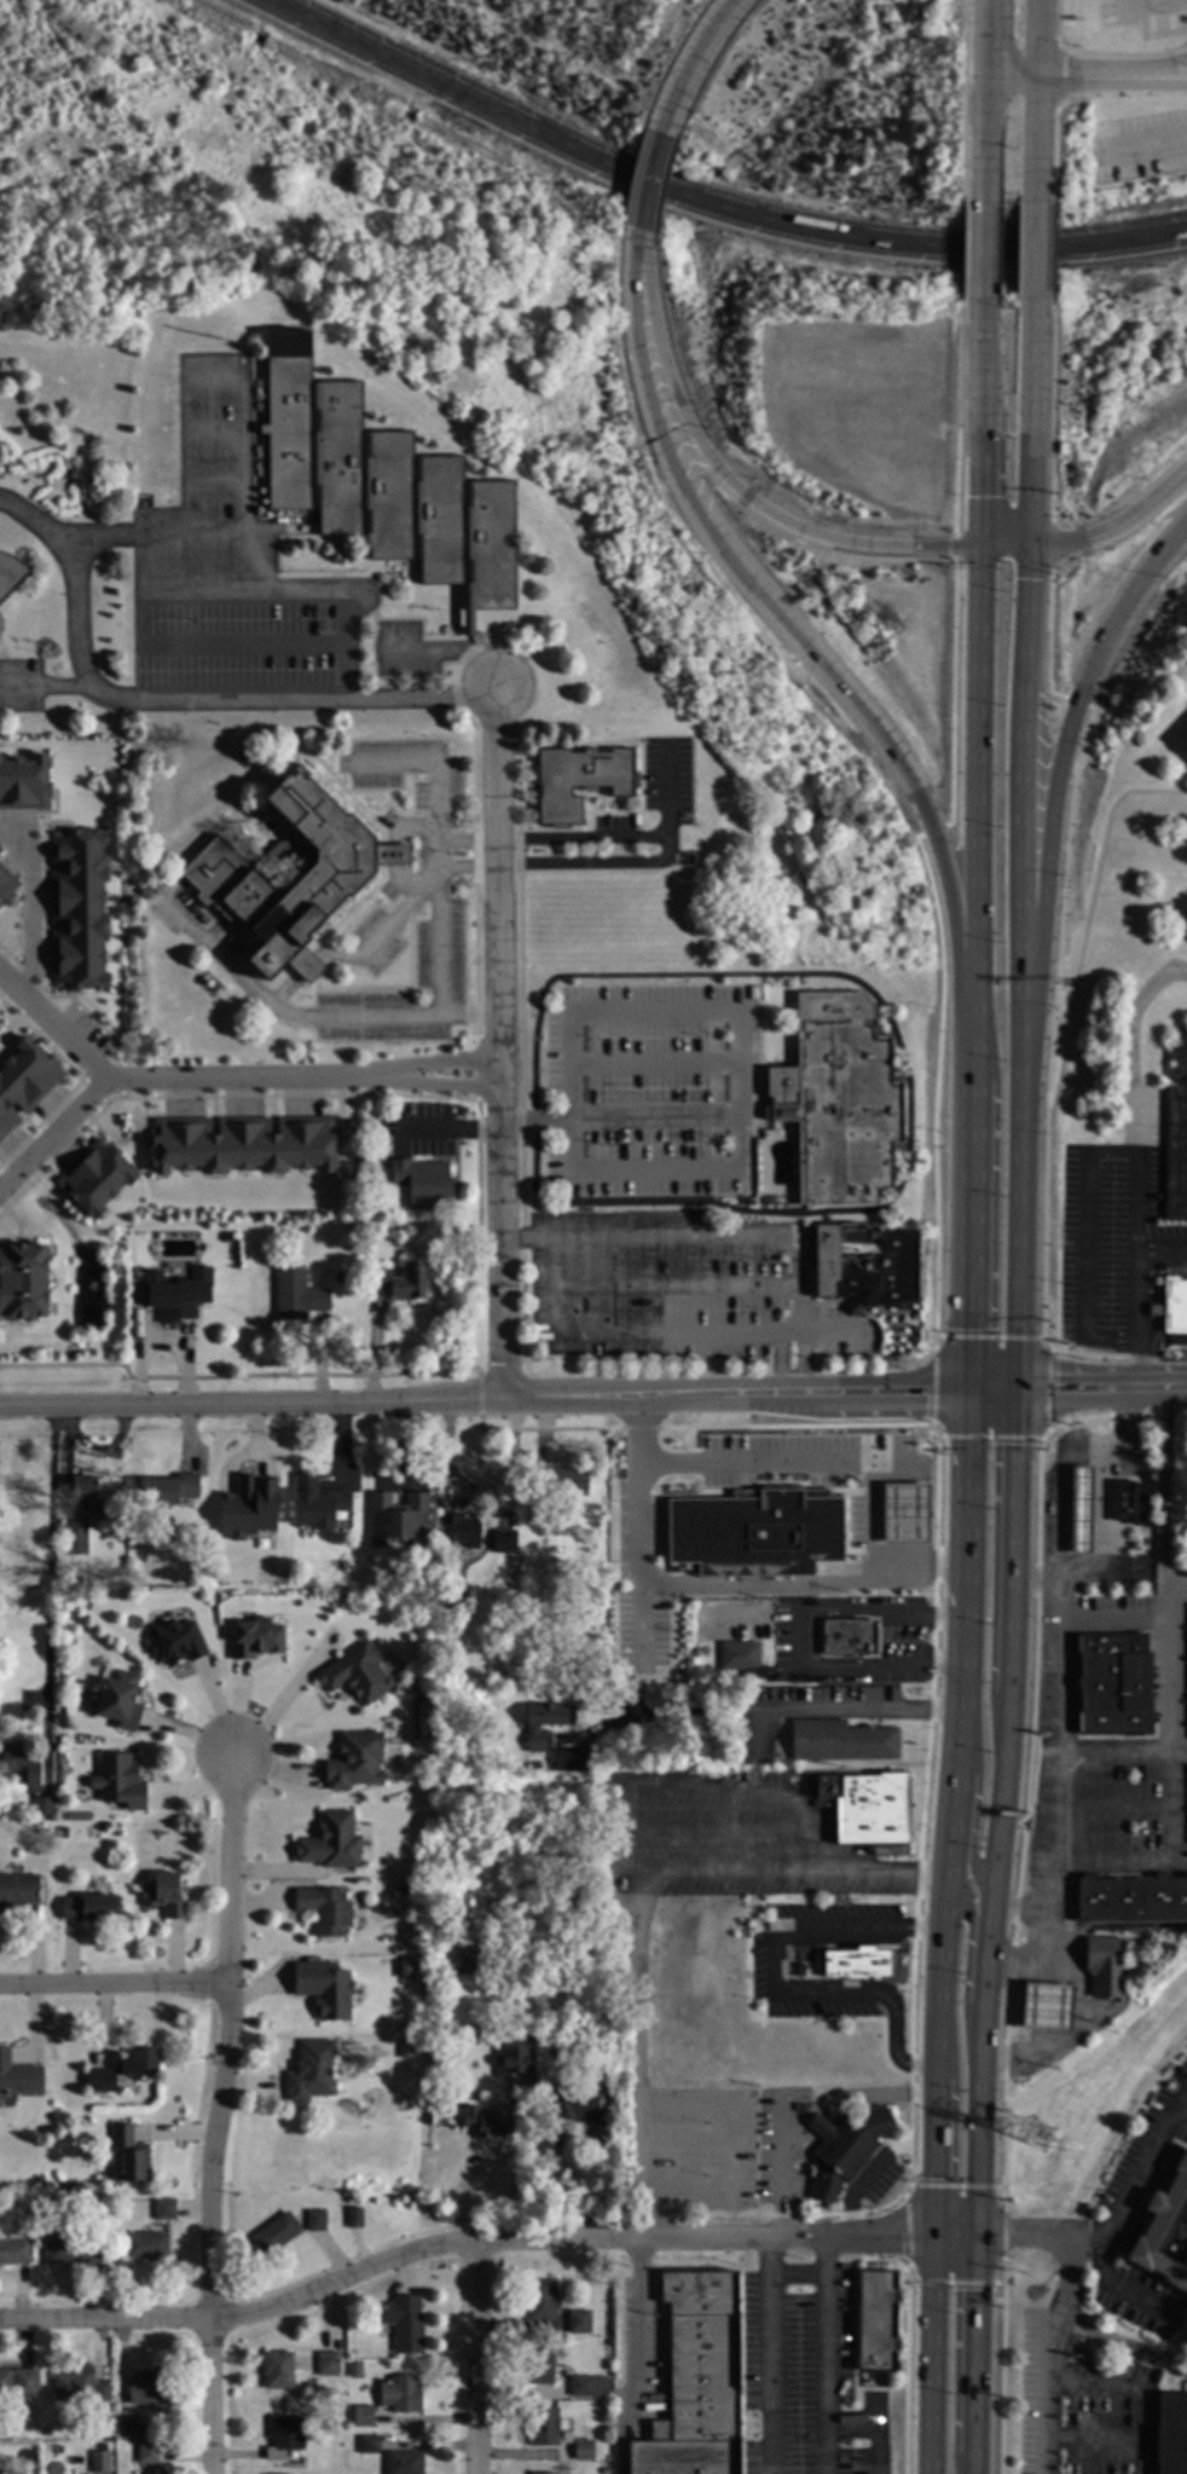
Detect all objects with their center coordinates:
road: (1150, 5)
parking lot: (1141, 13)
road: (1055, 21)
road: (1163, 33)
road: (985, 37)
road: (1040, 37)
road: (1119, 54)
road: (699, 65)
road: (1133, 70)
road: (1012, 75)
road: (1054, 75)
road: (1059, 75)
road: (1133, 77)
road: (962, 98)
road: (1038, 138)
road: (984, 140)
road: (1141, 145)
parking lot: (1139, 146)
road: (1052, 156)
road: (643, 192)
road: (710, 203)
road: (965, 248)
road: (1037, 253)
road: (1050, 253)
road: (982, 254)
road: (629, 288)
road: (1050, 412)
road: (957, 418)
road: (980, 426)
road: (1032, 426)
building: (1060, 447)
road: (241, 457)
road: (998, 467)
building: (382, 482)
road: (752, 516)
road: (1114, 525)
road: (1052, 545)
road: (1004, 548)
road: (955, 549)
road: (264, 560)
building: (10, 572)
road: (1049, 638)
road: (804, 651)
road: (41, 683)
road: (951, 694)
road: (175, 699)
road: (1079, 704)
building: (1185, 741)
road: (975, 765)
road: (1058, 773)
building: (579, 780)
building: (23, 782)
road: (1020, 797)
road: (932, 830)
road: (583, 838)
road: (469, 840)
road: (440, 842)
road: (637, 865)
building: (220, 872)
building: (6, 885)
road: (25, 901)
building: (77, 909)
road: (1087, 915)
road: (382, 936)
road: (308, 1017)
road: (728, 1017)
road: (1049, 1028)
road: (499, 1044)
road: (655, 1065)
road: (228, 1077)
building: (24, 1080)
road: (934, 1088)
building: (838, 1098)
road: (619, 1120)
building: (1176, 1128)
road: (451, 1131)
road: (52, 1134)
building: (242, 1144)
road: (1099, 1152)
building: (94, 1177)
building: (423, 1181)
building: (751, 1198)
road: (1135, 1202)
road: (992, 1204)
road: (725, 1233)
building: (863, 1264)
road: (1136, 1270)
building: (23, 1279)
building: (399, 1279)
road: (674, 1285)
building: (297, 1294)
building: (176, 1297)
building: (1172, 1305)
road: (668, 1336)
road: (988, 1337)
road: (1139, 1364)
road: (932, 1388)
road: (1100, 1389)
traffic signals: (1015, 1391)
road: (1048, 1391)
traffic signals: (968, 1392)
road: (881, 1394)
road: (691, 1395)
road: (317, 1401)
road: (1061, 1423)
road: (934, 1430)
road: (1047, 1435)
road: (990, 1437)
road: (1064, 1456)
road: (809, 1462)
building: (567, 1480)
building: (168, 1486)
road: (966, 1491)
building: (87, 1493)
building: (318, 1499)
building: (1130, 1502)
building: (247, 1505)
building: (1081, 1509)
building: (905, 1511)
building: (540, 1513)
building: (398, 1516)
building: (697, 1524)
building: (461, 1527)
road: (1101, 1534)
building: (75, 1536)
building: (503, 1541)
road: (994, 1567)
road: (1054, 1582)
road: (714, 1586)
building: (447, 1588)
road: (48, 1589)
road: (1180, 1594)
building: (256, 1636)
building: (847, 1636)
building: (174, 1638)
road: (800, 1642)
building: (741, 1657)
building: (357, 1672)
building: (1113, 1683)
road: (1174, 1684)
building: (118, 1696)
road: (845, 1710)
building: (542, 1723)
building: (841, 1740)
road: (1123, 1750)
building: (355, 1759)
building: (571, 1759)
road: (1003, 1761)
building: (533, 1763)
building: (18, 1764)
road: (1059, 1767)
building: (118, 1780)
road: (713, 1791)
building: (42, 1805)
building: (864, 1807)
road: (1116, 1808)
road: (973, 1809)
road: (712, 1831)
road: (807, 1839)
building: (330, 1840)
road: (734, 1873)
road: (861, 1873)
road: (914, 1875)
building: (403, 1888)
building: (17, 1892)
building: (164, 1894)
building: (1131, 1897)
road: (546, 1904)
building: (89, 1907)
road: (1020, 1907)
building: (325, 1908)
building: (465, 1960)
building: (856, 1961)
building: (1105, 1964)
road: (966, 1966)
building: (403, 1967)
building: (803, 1969)
building: (493, 1981)
building: (323, 1987)
road: (116, 1988)
road: (772, 1988)
building: (1046, 2005)
road: (635, 2010)
building: (439, 2022)
road: (1070, 2036)
building: (442, 2042)
building: (516, 2050)
building: (556, 2051)
building: (123, 2068)
building: (311, 2070)
building: (17, 2075)
road: (851, 2099)
building: (440, 2103)
building: (575, 2109)
road: (219, 2114)
road: (934, 2115)
road: (783, 2118)
building: (487, 2123)
road: (951, 2123)
power tower: (1042, 2141)
building: (845, 2148)
building: (125, 2154)
road: (1133, 2173)
traffic signals: (951, 2178)
building: (37, 2179)
traffic signals: (933, 2179)
road: (783, 2187)
road: (954, 2187)
road: (855, 2191)
road: (645, 2202)
road: (728, 2202)
building: (100, 2203)
building: (162, 2208)
building: (354, 2216)
building: (315, 2219)
building: (1165, 2230)
building: (274, 2232)
road: (907, 2232)
road: (953, 2232)
traffic signals: (901, 2233)
road: (1002, 2233)
traffic signals: (1009, 2233)
road: (459, 2241)
building: (146, 2245)
building: (15, 2248)
building: (71, 2249)
road: (795, 2279)
road: (954, 2283)
traffic signals: (956, 2289)
traffic signals: (974, 2290)
building: (540, 2299)
road: (1061, 2308)
building: (875, 2319)
building: (578, 2320)
building: (403, 2322)
road: (827, 2330)
road: (1122, 2337)
building: (337, 2343)
road: (954, 2349)
road: (765, 2353)
road: (931, 2353)
road: (476, 2357)
road: (636, 2357)
building: (540, 2362)
building: (326, 2363)
building: (277, 2369)
building: (355, 2370)
building: (696, 2380)
building: (5, 2382)
building: (25, 2382)
building: (74, 2383)
building: (587, 2385)
building: (145, 2387)
road: (1136, 2389)
building: (401, 2393)
building: (103, 2395)
building: (606, 2403)
building: (363, 2415)
building: (125, 2424)
building: (544, 2424)
road: (822, 2427)
building: (1172, 2433)
building: (284, 2435)
road: (1094, 2439)
building: (369, 2443)
building: (583, 2449)
road: (822, 2450)
road: (878, 2450)
building: (146, 2452)
building: (100, 2461)
building: (404, 2462)
building: (604, 2470)
building: (542, 2473)

